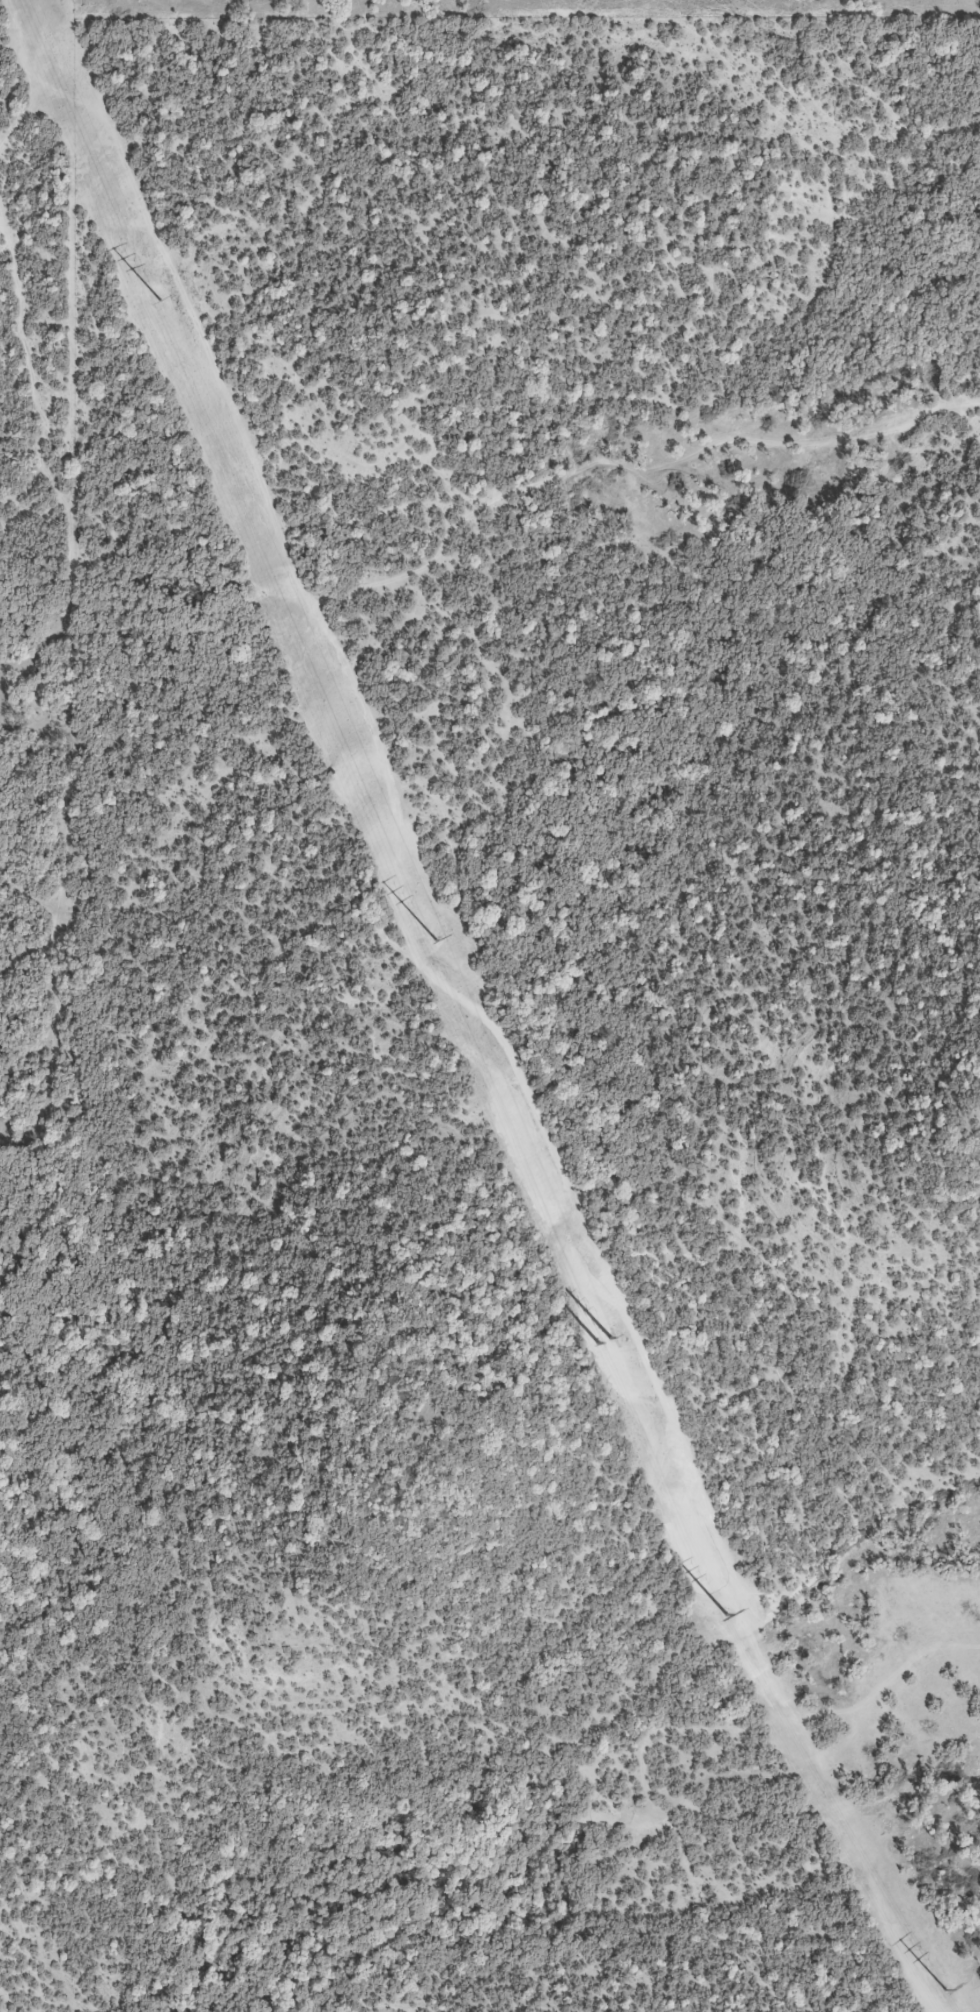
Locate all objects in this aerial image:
power tower: (163, 301)
power tower: (436, 940)
power tower: (608, 1342)
power tower: (728, 1616)
power tower: (945, 1991)

